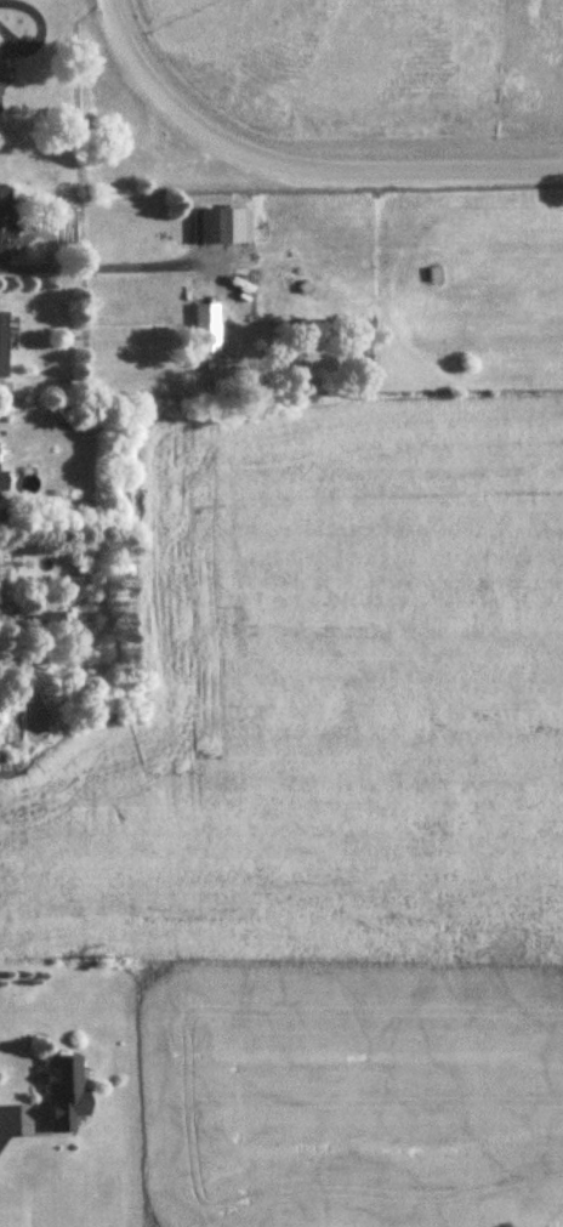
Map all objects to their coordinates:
road: (39, 32)
road: (302, 159)
building: (5, 215)
building: (210, 228)
road: (101, 267)
building: (205, 316)
building: (4, 346)
building: (4, 482)
building: (50, 621)
building: (66, 1093)

